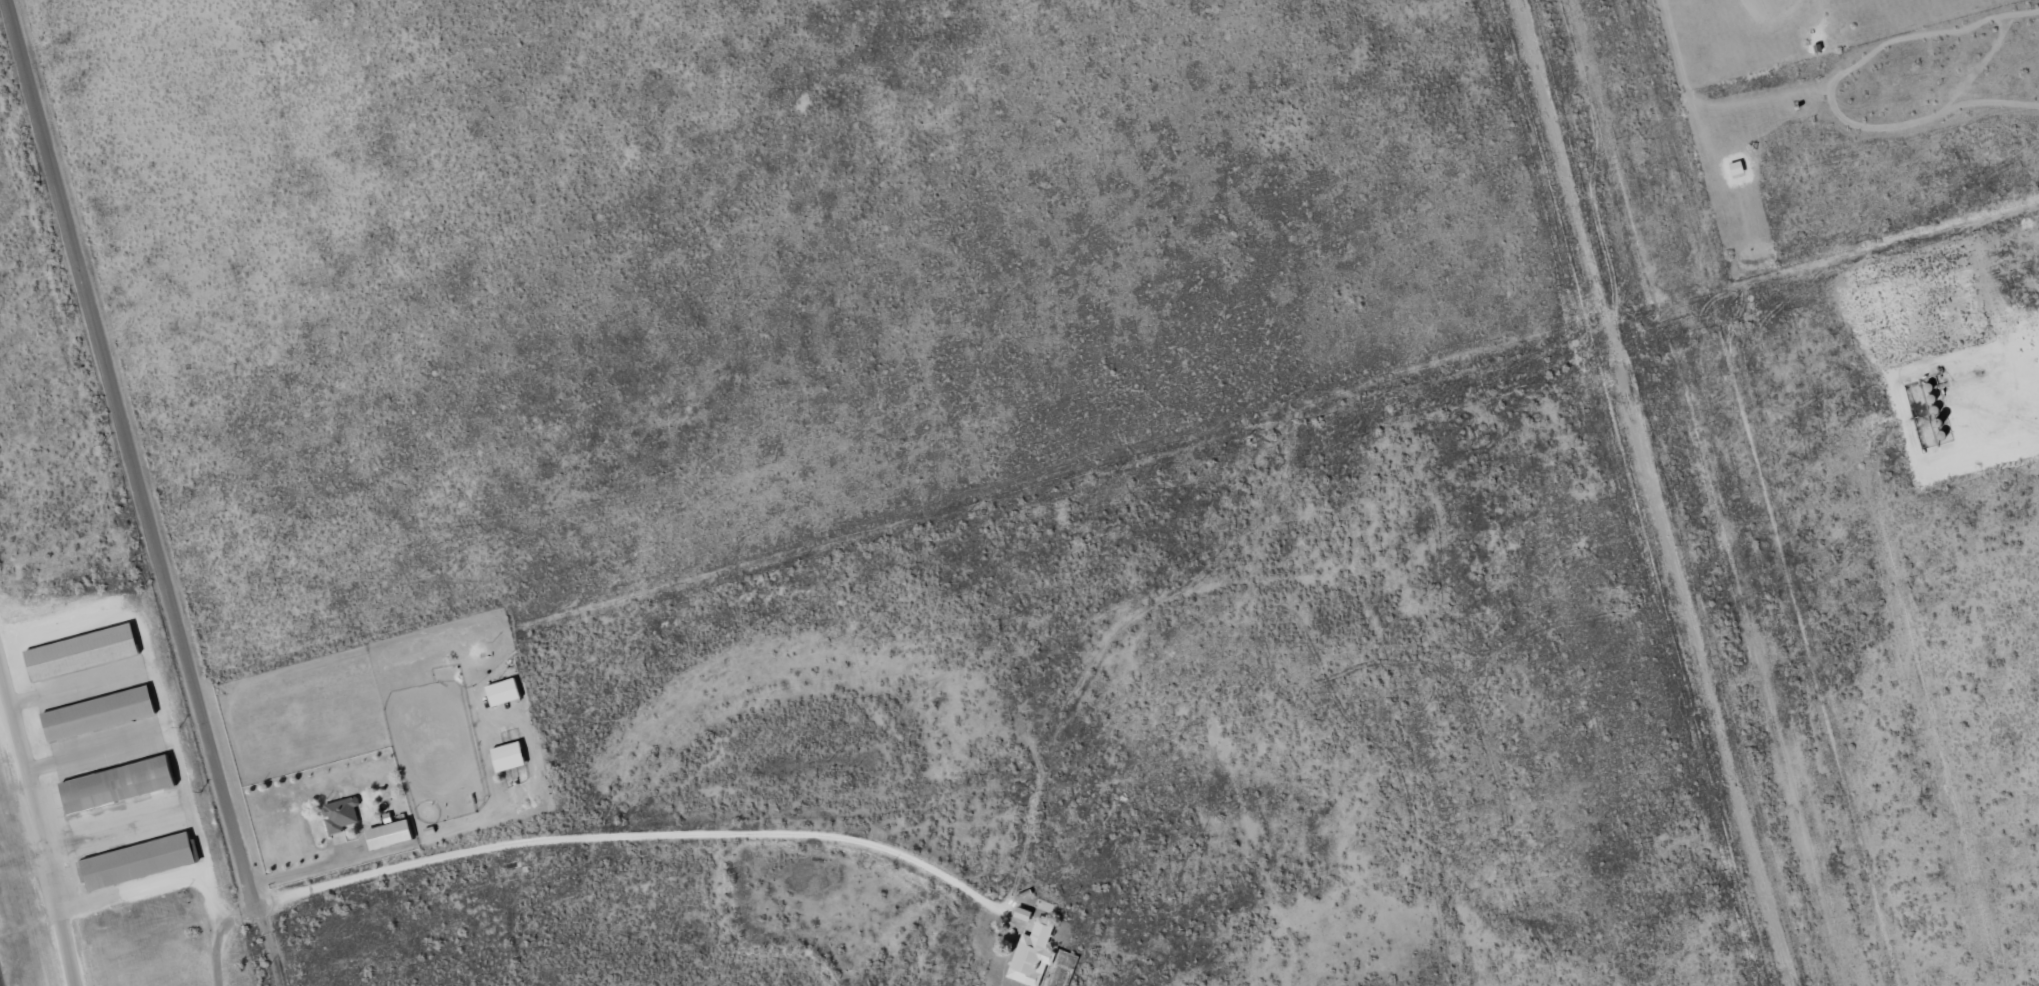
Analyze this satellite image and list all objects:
road: (142, 493)
building: (83, 652)
airport: (87, 668)
building: (99, 714)
building: (119, 784)
building: (340, 814)
building: (390, 835)
road: (639, 836)
building: (138, 862)
road: (305, 868)
building: (1024, 914)
building: (1033, 954)

